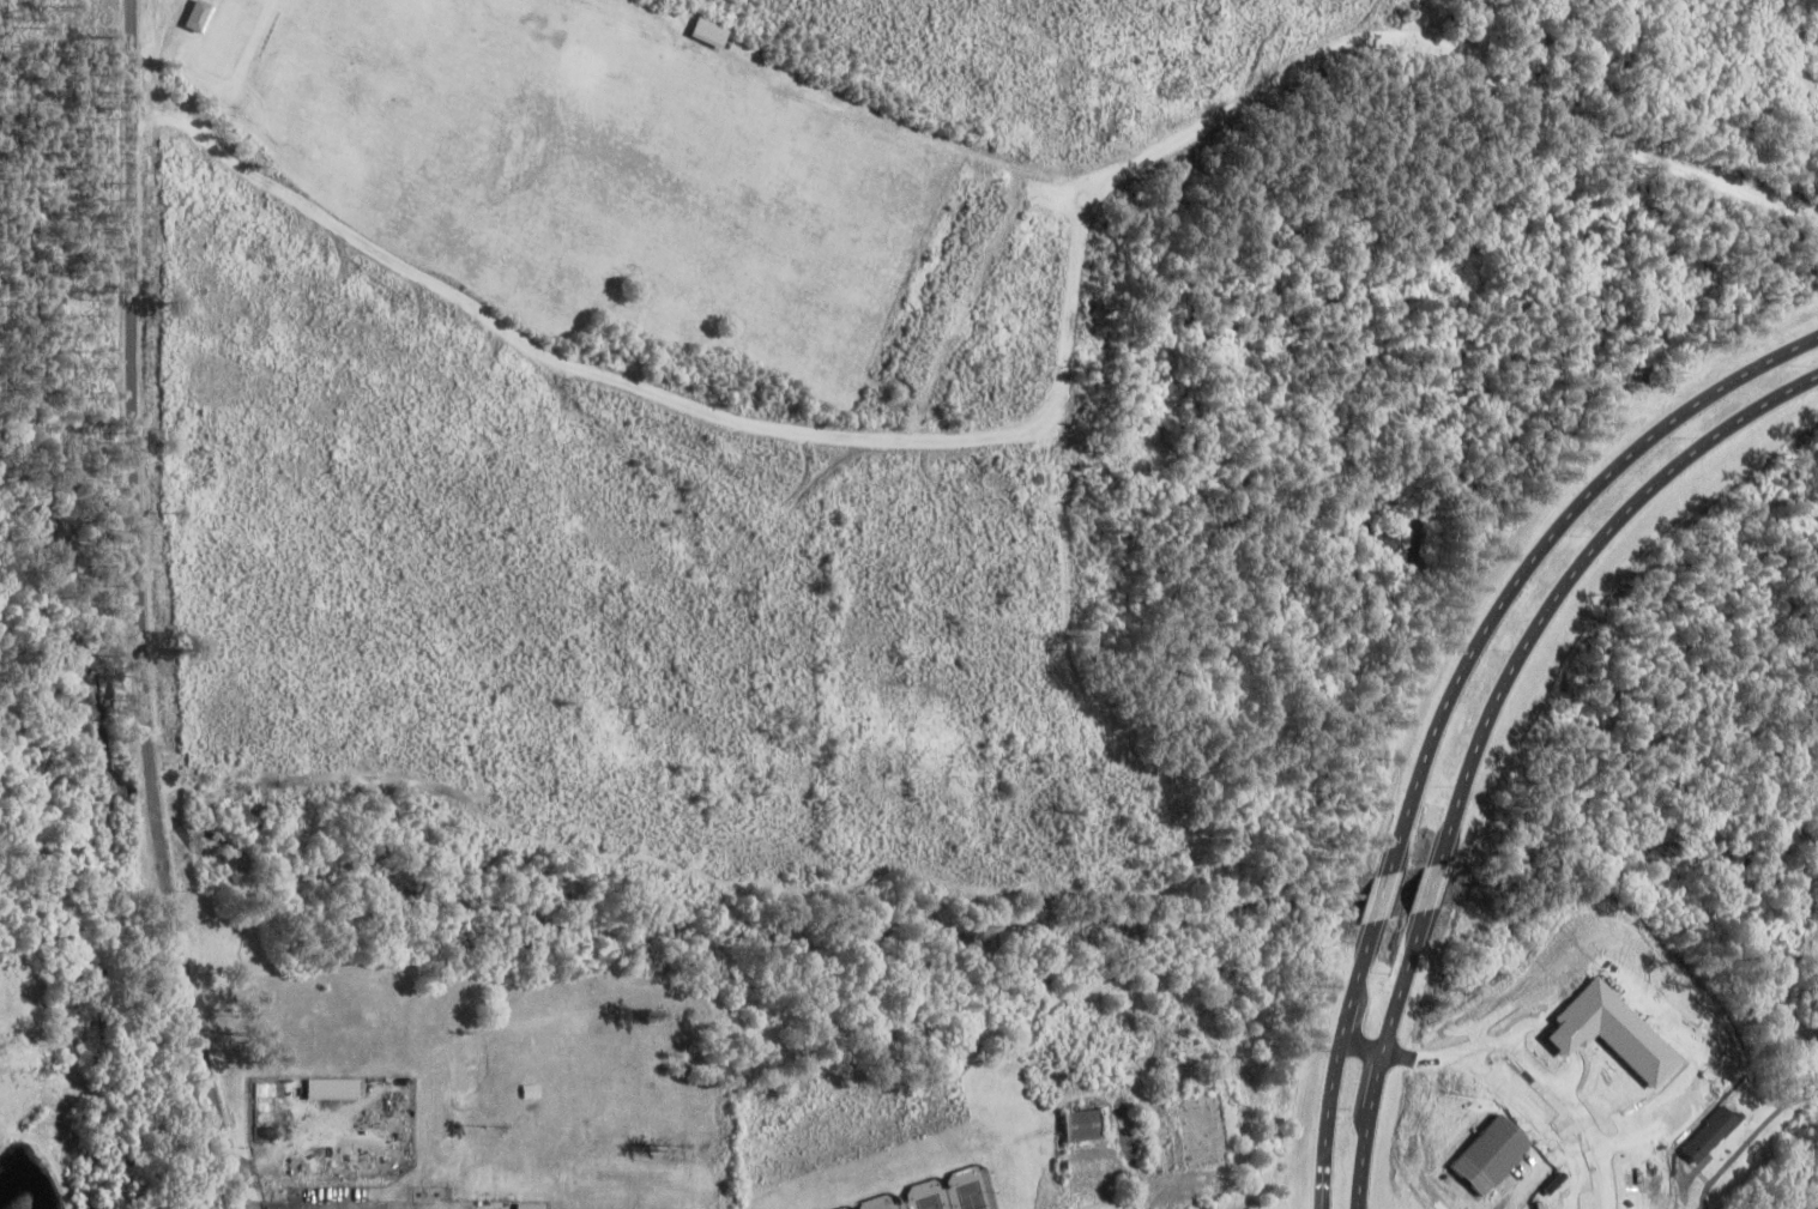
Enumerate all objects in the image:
building: (200, 16)
building: (709, 31)
road: (1532, 544)
road: (1565, 568)
road: (139, 610)
road: (1429, 884)
road: (1378, 894)
park: (1816, 942)
road: (1357, 1044)
road: (1376, 1052)
road: (1333, 1060)
building: (336, 1087)
road: (1563, 1090)
road: (1505, 1092)
building: (1602, 1111)
building: (1079, 1123)
building: (1704, 1134)
building: (1487, 1154)
park: (967, 1187)
park: (925, 1193)
park: (876, 1202)
road: (1352, 1207)
road: (1352, 1207)
park: (840, 1208)

